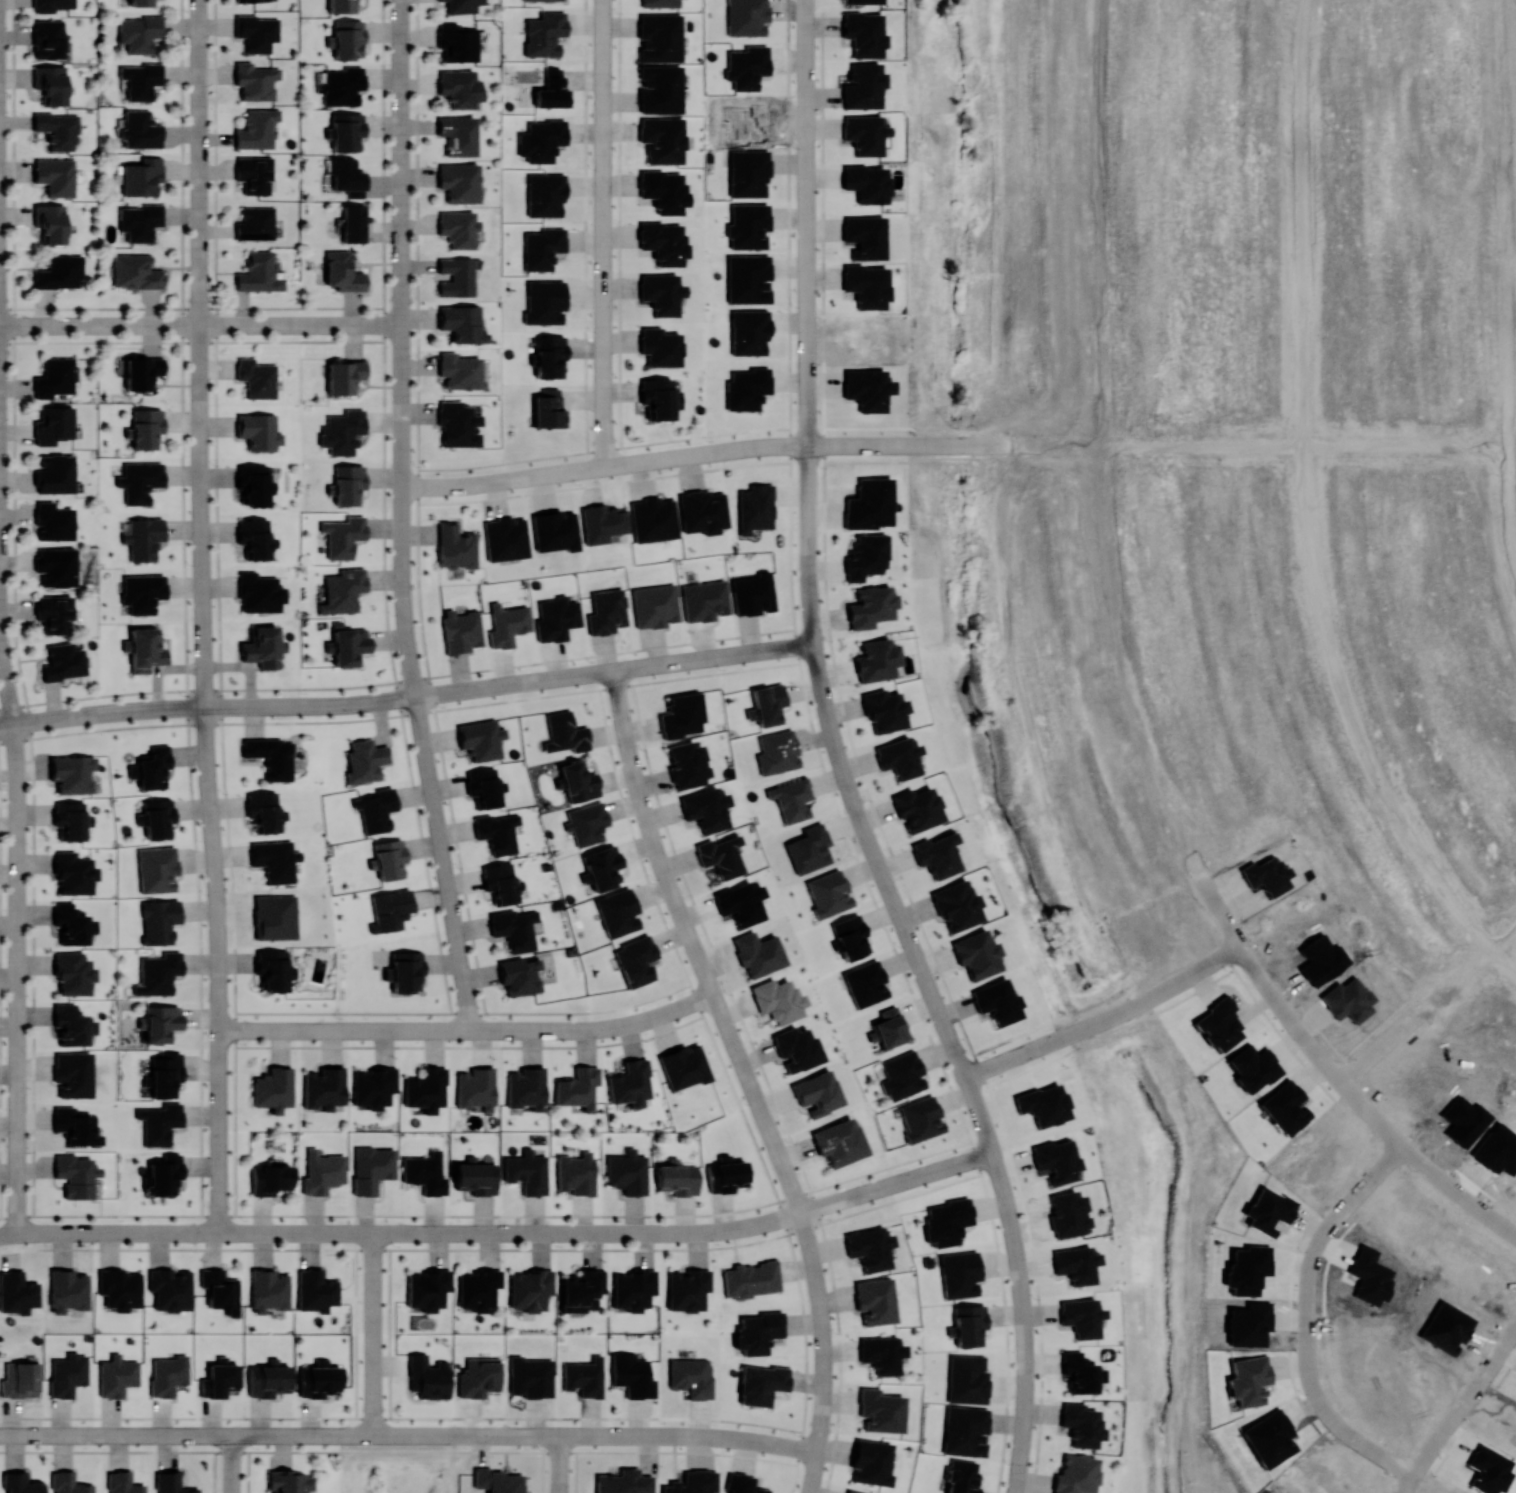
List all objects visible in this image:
building: (250, 0)
building: (549, 0)
building: (865, 1)
building: (141, 3)
building: (659, 3)
building: (51, 5)
building: (341, 6)
building: (460, 6)
building: (746, 17)
building: (257, 32)
building: (139, 33)
building: (544, 33)
building: (863, 33)
building: (659, 37)
building: (48, 38)
building: (348, 39)
building: (456, 43)
building: (746, 66)
building: (140, 79)
building: (258, 81)
building: (50, 83)
building: (863, 85)
building: (342, 86)
building: (460, 88)
building: (659, 89)
building: (551, 91)
building: (58, 129)
building: (260, 129)
building: (140, 130)
building: (346, 132)
building: (864, 133)
building: (459, 136)
building: (662, 139)
building: (541, 140)
building: (748, 173)
building: (257, 174)
building: (55, 176)
building: (142, 176)
building: (348, 177)
building: (460, 183)
building: (866, 183)
building: (664, 190)
building: (544, 194)
road: (401, 196)
building: (140, 221)
building: (51, 222)
road: (619, 223)
building: (258, 224)
building: (354, 224)
building: (748, 225)
building: (458, 229)
road: (602, 233)
building: (864, 236)
building: (663, 242)
building: (542, 247)
road: (805, 264)
building: (60, 271)
building: (136, 271)
building: (259, 272)
building: (343, 273)
building: (455, 276)
building: (748, 278)
building: (866, 284)
road: (1500, 289)
building: (660, 292)
building: (544, 302)
road: (192, 308)
building: (461, 323)
road: (200, 325)
building: (749, 331)
road: (192, 341)
building: (660, 346)
road: (200, 353)
building: (549, 356)
building: (458, 370)
building: (141, 372)
building: (343, 375)
building: (54, 377)
building: (256, 378)
building: (746, 388)
building: (867, 389)
building: (658, 398)
road: (402, 399)
building: (548, 409)
road: (824, 409)
building: (54, 424)
building: (457, 424)
road: (910, 426)
building: (146, 427)
building: (259, 430)
building: (342, 431)
park: (936, 431)
road: (754, 446)
road: (1456, 448)
road: (950, 457)
building: (55, 473)
building: (139, 480)
building: (348, 483)
road: (487, 483)
building: (254, 484)
road: (437, 486)
building: (755, 507)
road: (384, 509)
road: (418, 509)
building: (702, 511)
building: (653, 519)
building: (53, 521)
building: (602, 522)
building: (554, 531)
building: (342, 535)
building: (142, 537)
building: (255, 537)
building: (505, 538)
road: (807, 539)
building: (455, 547)
road: (402, 550)
building: (865, 556)
building: (56, 566)
building: (342, 590)
building: (142, 592)
building: (260, 592)
building: (753, 593)
building: (704, 600)
building: (654, 605)
building: (871, 606)
building: (606, 611)
building: (54, 612)
building: (556, 618)
building: (506, 624)
building: (460, 630)
building: (348, 644)
building: (263, 646)
building: (145, 649)
building: (877, 659)
building: (63, 661)
road: (663, 662)
road: (398, 680)
road: (6, 681)
road: (503, 684)
building: (768, 703)
road: (295, 705)
building: (884, 710)
road: (400, 714)
building: (681, 715)
road: (49, 718)
building: (564, 732)
building: (480, 739)
building: (777, 752)
building: (271, 756)
building: (899, 757)
building: (364, 760)
road: (822, 761)
building: (687, 764)
building: (151, 768)
building: (72, 772)
building: (578, 781)
building: (484, 787)
building: (791, 799)
road: (871, 806)
building: (705, 808)
building: (916, 808)
building: (375, 809)
building: (264, 811)
building: (156, 817)
building: (70, 819)
road: (861, 819)
building: (586, 823)
building: (496, 832)
building: (809, 849)
building: (937, 854)
building: (720, 855)
building: (389, 858)
building: (275, 860)
road: (443, 862)
building: (602, 867)
building: (157, 868)
building: (73, 873)
building: (500, 882)
park: (1078, 882)
building: (828, 893)
building: (740, 902)
building: (956, 905)
building: (390, 909)
building: (617, 912)
building: (274, 916)
road: (1467, 919)
building: (159, 920)
building: (71, 923)
building: (514, 928)
building: (851, 937)
building: (758, 953)
building: (976, 953)
building: (635, 960)
road: (220, 969)
building: (273, 970)
building: (405, 970)
building: (73, 973)
building: (158, 973)
building: (520, 975)
road: (16, 979)
building: (865, 983)
building: (777, 1000)
building: (997, 1001)
road: (1429, 1003)
road: (680, 1006)
road: (1106, 1017)
building: (161, 1022)
building: (71, 1025)
road: (616, 1025)
building: (889, 1027)
road: (406, 1028)
building: (795, 1048)
building: (683, 1066)
building: (1252, 1067)
building: (72, 1073)
building: (165, 1074)
road: (749, 1075)
building: (902, 1075)
road: (1337, 1075)
building: (629, 1083)
building: (372, 1086)
building: (322, 1087)
building: (576, 1087)
building: (475, 1088)
building: (525, 1088)
building: (273, 1089)
building: (425, 1089)
building: (817, 1092)
building: (1284, 1107)
building: (920, 1118)
building: (159, 1122)
building: (74, 1126)
building: (839, 1141)
building: (1056, 1159)
building: (372, 1168)
building: (322, 1171)
building: (527, 1171)
building: (627, 1172)
building: (425, 1173)
building: (576, 1173)
building: (725, 1174)
building: (75, 1175)
building: (164, 1175)
building: (475, 1176)
building: (676, 1178)
building: (269, 1179)
road: (855, 1194)
building: (1067, 1214)
building: (946, 1221)
road: (711, 1231)
road: (462, 1232)
road: (108, 1233)
building: (869, 1247)
road: (1015, 1255)
building: (1075, 1264)
building: (1246, 1268)
building: (960, 1273)
building: (749, 1279)
building: (119, 1288)
building: (170, 1288)
building: (426, 1288)
building: (477, 1288)
building: (529, 1289)
building: (632, 1289)
building: (686, 1289)
building: (68, 1290)
building: (220, 1290)
building: (268, 1290)
building: (315, 1290)
building: (581, 1290)
building: (17, 1292)
building: (874, 1300)
building: (1081, 1317)
road: (1307, 1317)
building: (969, 1324)
building: (757, 1332)
road: (373, 1333)
road: (1040, 1344)
building: (881, 1353)
building: (1079, 1372)
building: (67, 1374)
building: (167, 1374)
building: (117, 1375)
building: (632, 1375)
building: (427, 1377)
building: (478, 1377)
building: (530, 1377)
building: (584, 1377)
building: (691, 1377)
building: (219, 1378)
building: (20, 1379)
building: (268, 1379)
building: (318, 1379)
building: (967, 1379)
building: (760, 1383)
road: (1458, 1407)
building: (881, 1411)
building: (1080, 1424)
building: (965, 1430)
road: (509, 1433)
road: (398, 1434)
road: (455, 1434)
road: (171, 1435)
road: (689, 1436)
building: (871, 1462)
park: (400, 1463)
road: (559, 1463)
road: (231, 1464)
road: (1018, 1468)
building: (1076, 1473)
building: (961, 1476)
building: (497, 1480)
building: (288, 1481)
building: (623, 1482)
building: (692, 1482)
building: (20, 1483)
building: (68, 1483)
building: (123, 1483)
building: (171, 1483)
building: (742, 1484)
building: (852, 1491)

